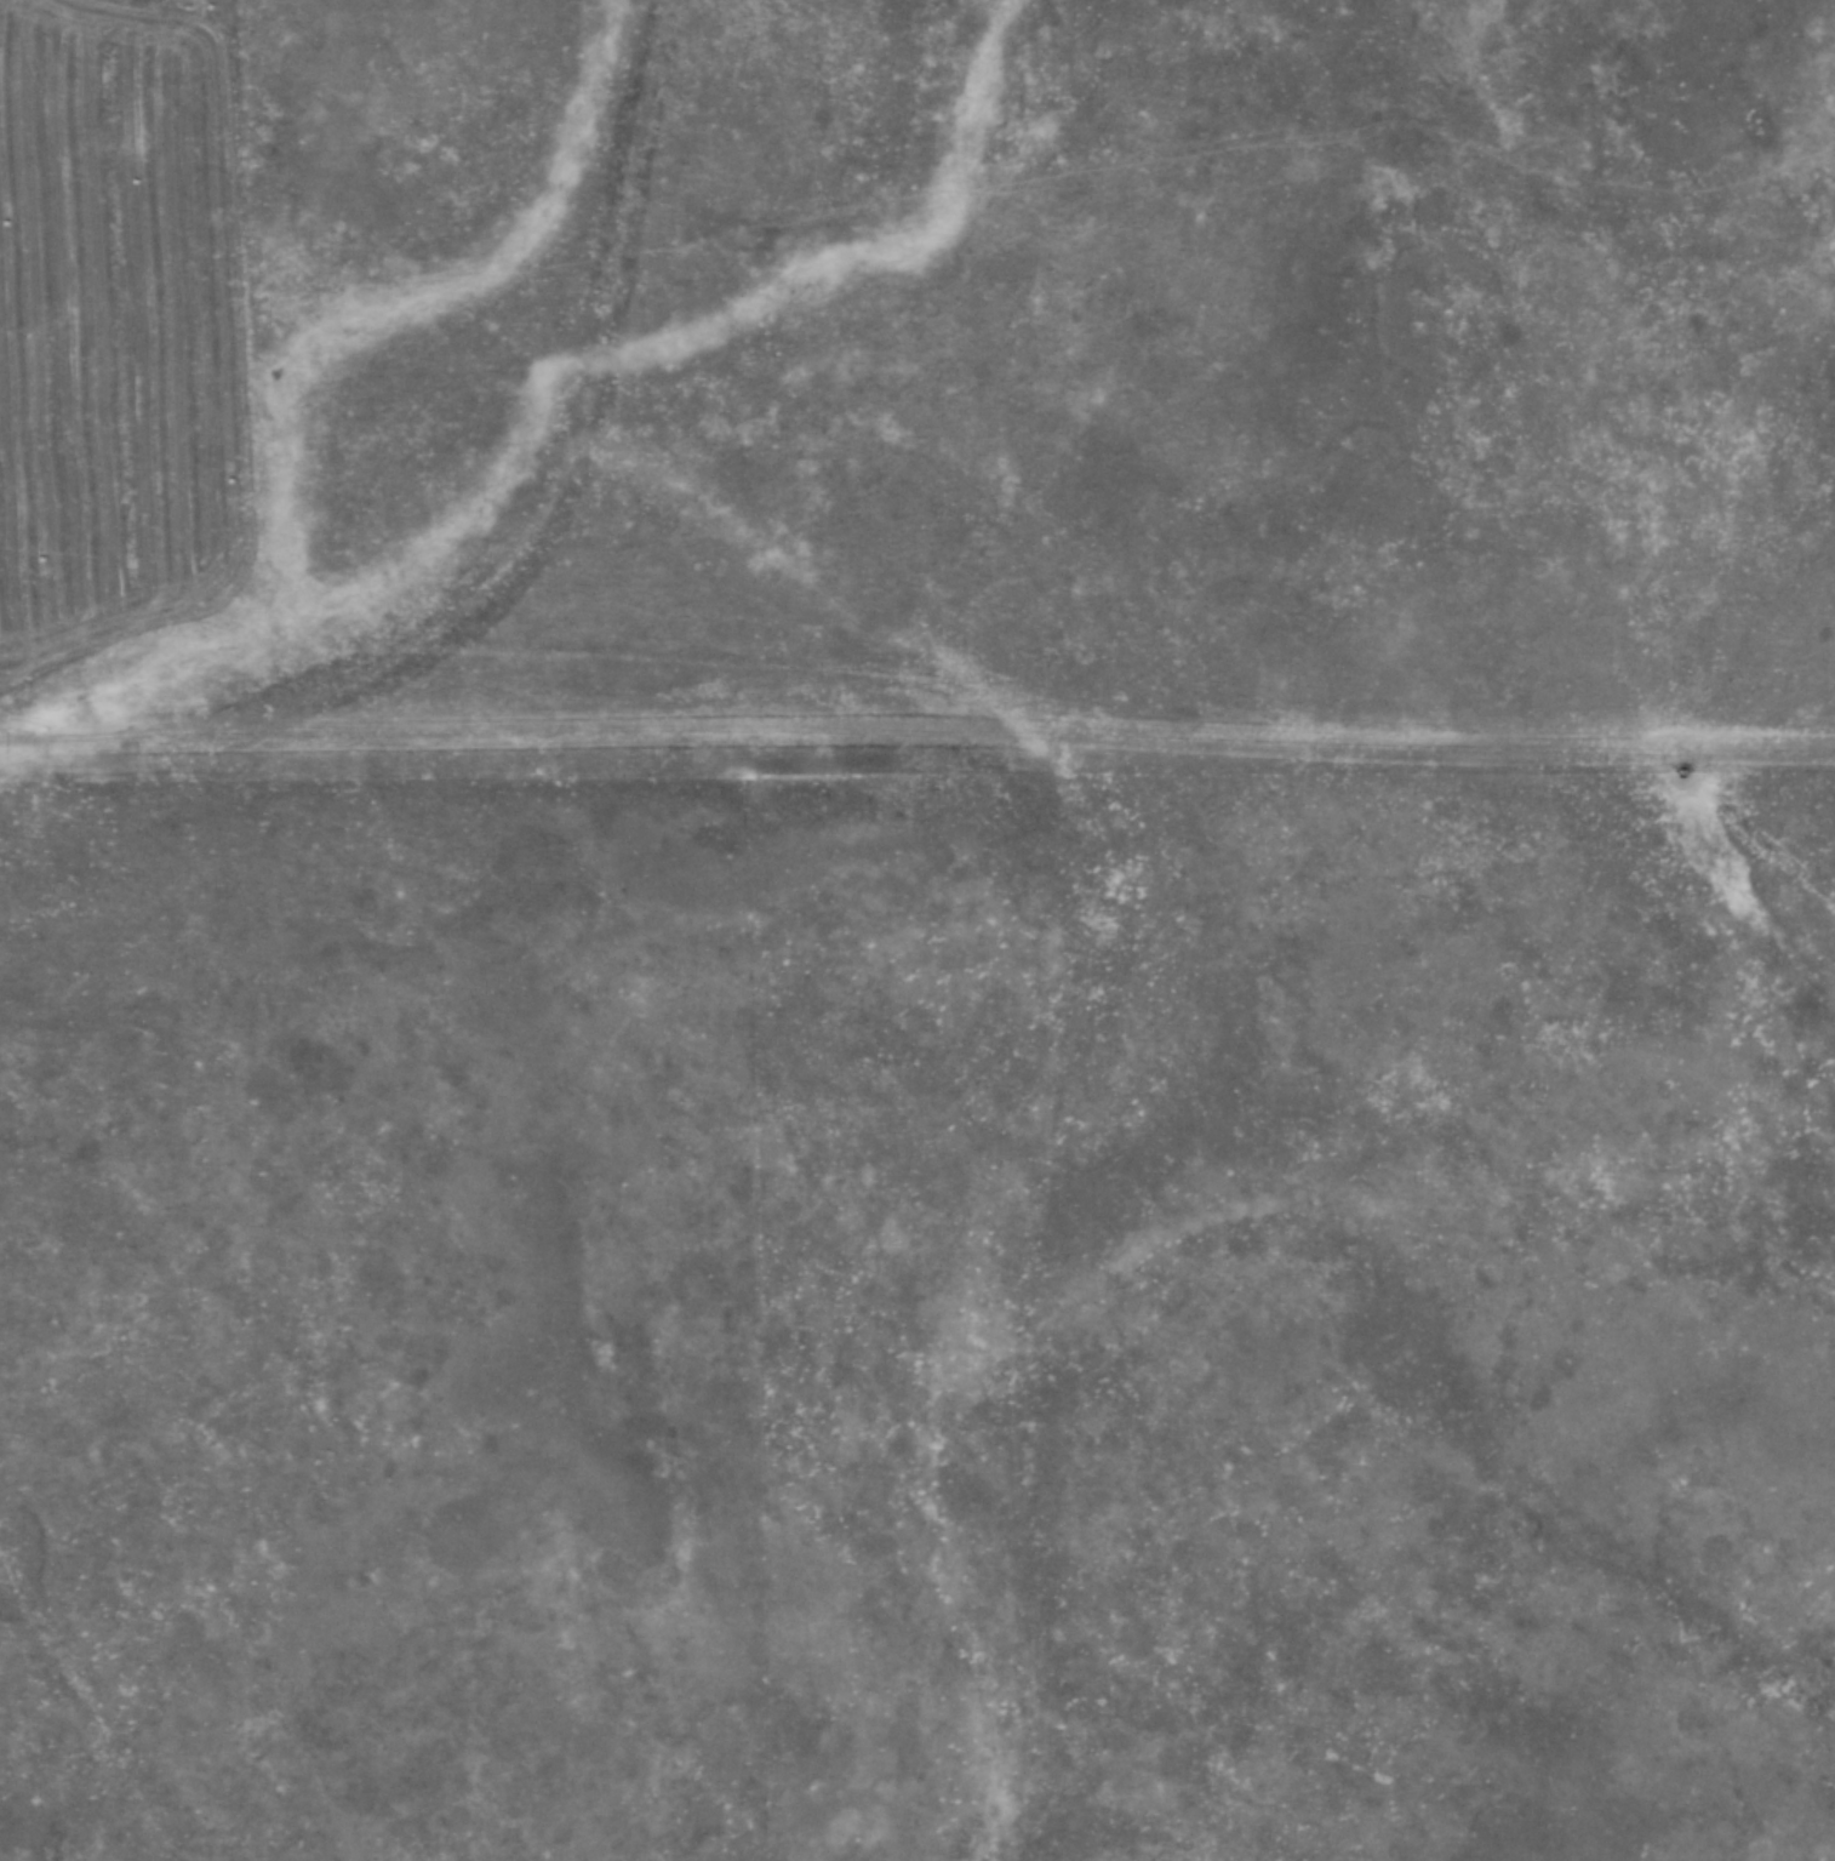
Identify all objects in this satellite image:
road: (916, 736)

